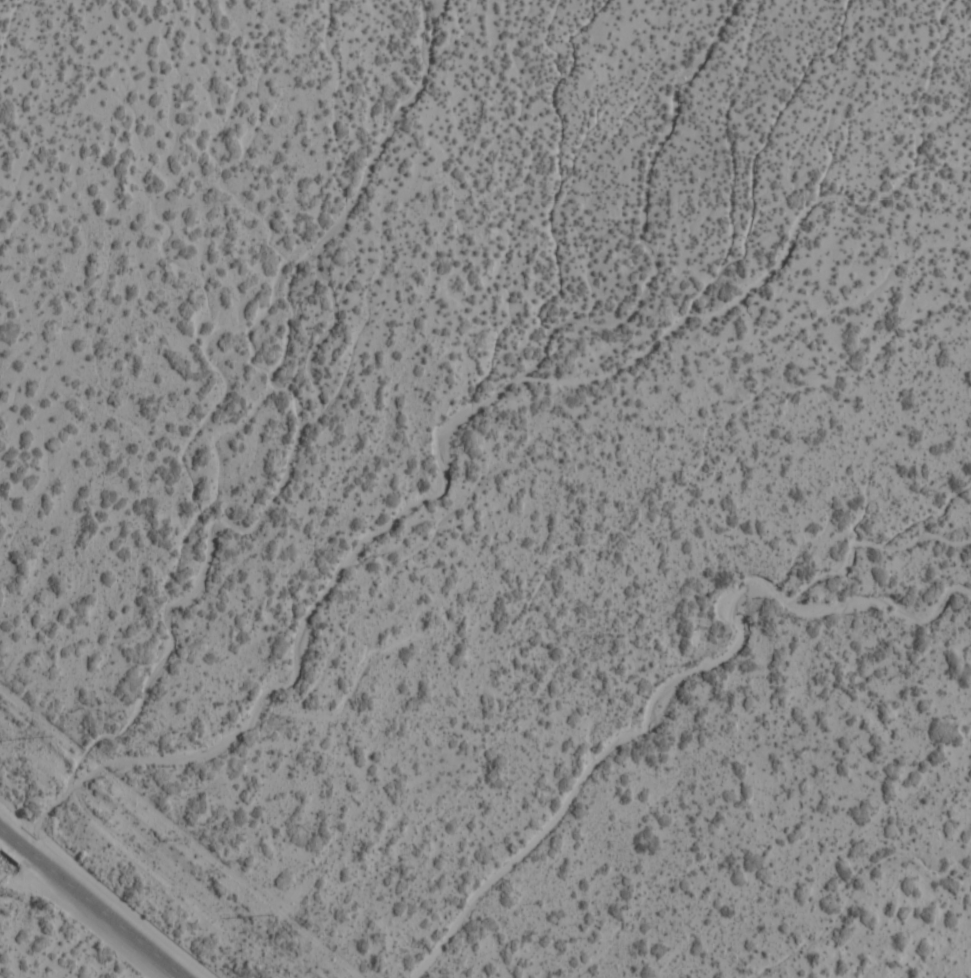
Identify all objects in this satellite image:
building: (22, 88)
building: (352, 125)
building: (241, 143)
building: (36, 163)
building: (390, 333)
road: (92, 903)

